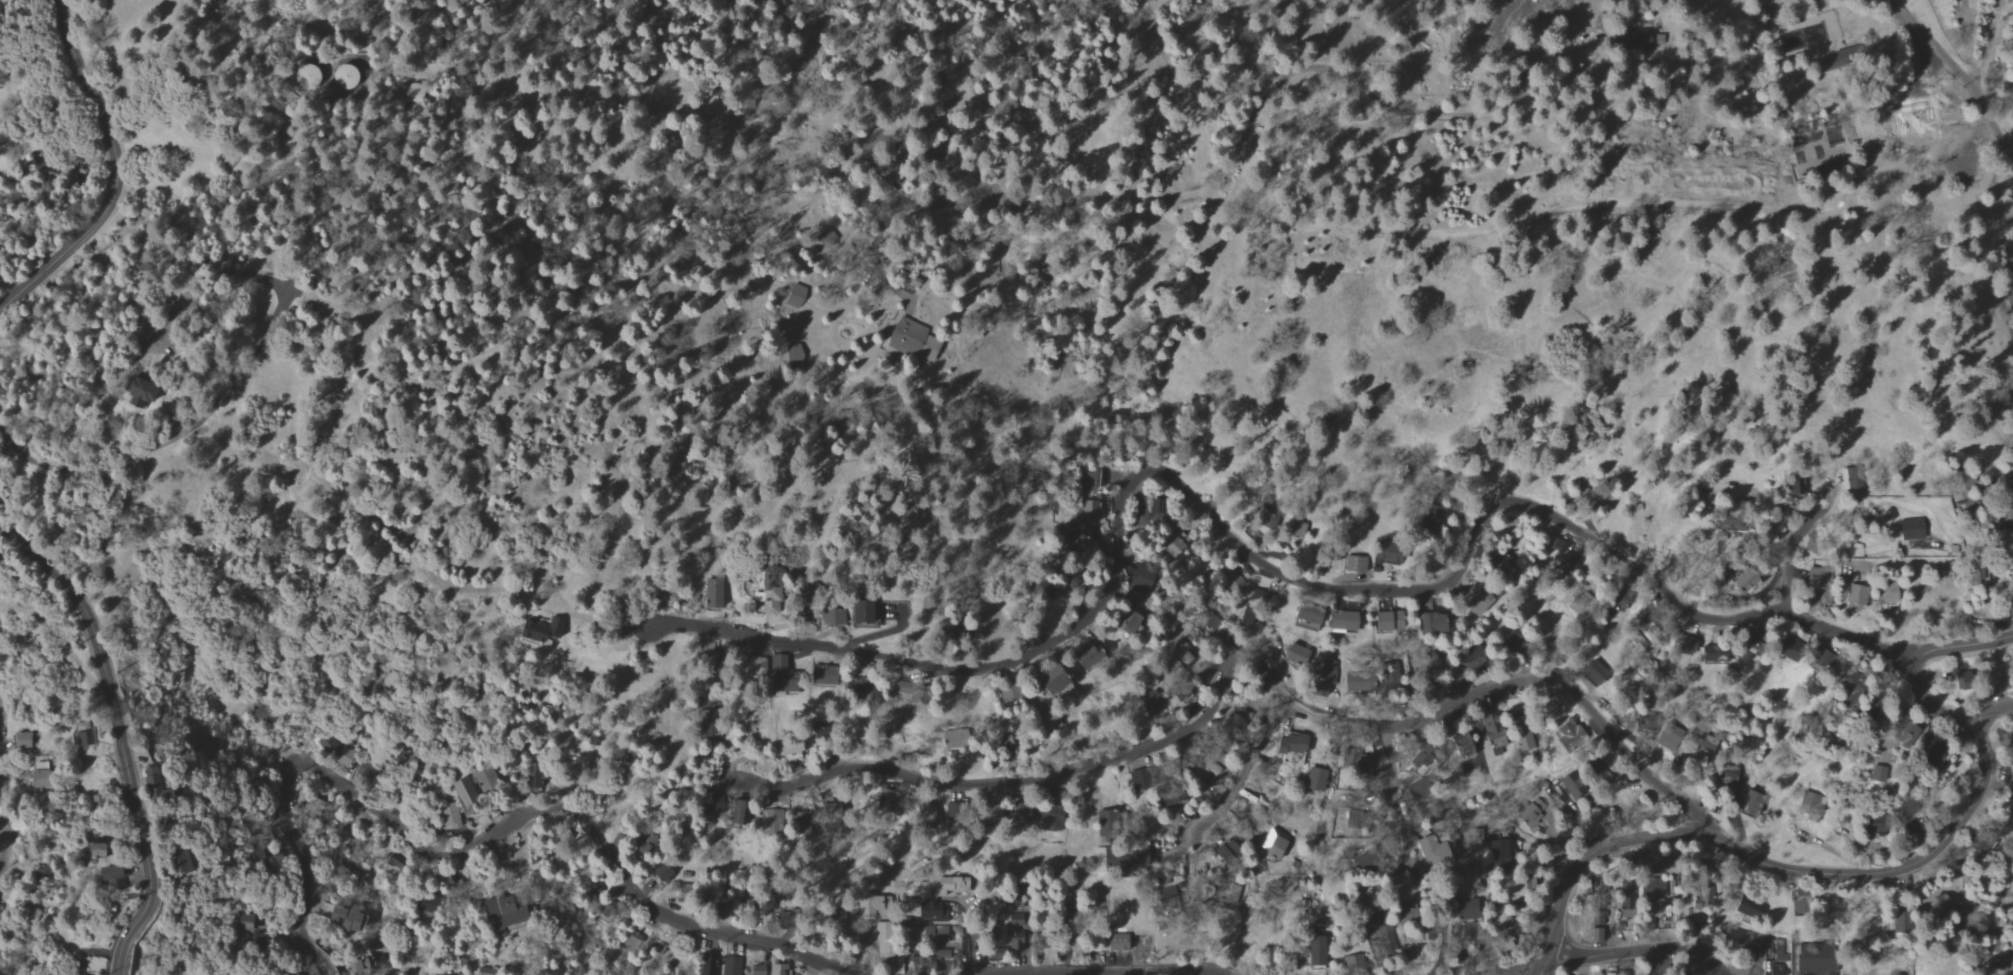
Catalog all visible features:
parking lot: (1507, 21)
building: (1627, 40)
building: (1794, 40)
road: (1297, 72)
road: (1953, 73)
building: (352, 78)
building: (413, 93)
building: (1833, 146)
parking lot: (1954, 159)
road: (859, 162)
parking lot: (965, 164)
road: (1932, 165)
road: (117, 179)
road: (1523, 205)
road: (2010, 275)
building: (794, 295)
road: (907, 310)
building: (909, 339)
road: (237, 377)
building: (158, 391)
building: (1101, 478)
building: (1847, 480)
building: (1792, 484)
building: (1092, 511)
building: (1146, 512)
building: (1299, 529)
building: (1908, 529)
building: (1074, 541)
road: (1794, 543)
building: (1174, 547)
road: (1253, 555)
building: (1560, 556)
building: (1354, 565)
building: (1234, 578)
building: (1816, 578)
building: (1737, 581)
building: (769, 586)
building: (1051, 590)
building: (714, 592)
building: (798, 593)
building: (1851, 595)
building: (1476, 597)
building: (1886, 597)
building: (1133, 603)
building: (858, 611)
building: (833, 616)
building: (1303, 616)
building: (1245, 621)
building: (1386, 621)
building: (1340, 622)
building: (1431, 622)
building: (538, 632)
road: (1961, 645)
road: (1243, 649)
building: (1086, 652)
building: (1291, 654)
building: (745, 669)
building: (821, 677)
building: (1322, 678)
building: (1054, 680)
building: (782, 683)
building: (1362, 685)
building: (1426, 689)
building: (1187, 691)
road: (1923, 701)
road: (1987, 713)
building: (263, 715)
building: (1571, 733)
road: (120, 735)
building: (1898, 735)
building: (82, 739)
building: (1668, 739)
building: (23, 740)
building: (1494, 740)
building: (1524, 740)
building: (1711, 742)
building: (1288, 744)
building: (1462, 747)
building: (791, 749)
building: (348, 758)
building: (1411, 759)
building: (1929, 759)
building: (1356, 764)
road: (1246, 769)
road: (1, 771)
building: (368, 772)
building: (43, 775)
building: (1134, 780)
building: (1313, 781)
building: (162, 783)
building: (487, 783)
building: (465, 792)
building: (2012, 794)
road: (1395, 799)
building: (102, 802)
building: (742, 812)
building: (1811, 814)
building: (448, 817)
building: (988, 817)
building: (1531, 818)
building: (772, 821)
building: (1272, 844)
road: (468, 848)
building: (107, 850)
building: (1500, 853)
building: (1430, 859)
road: (1764, 859)
building: (1121, 860)
building: (658, 876)
building: (121, 878)
building: (939, 886)
building: (1232, 894)
building: (1939, 904)
building: (509, 911)
building: (32, 914)
building: (347, 920)
building: (241, 924)
building: (845, 924)
building: (1595, 927)
building: (992, 930)
building: (933, 934)
road: (967, 938)
building: (634, 940)
building: (1381, 941)
road: (1617, 951)
building: (1308, 956)
building: (1774, 956)
building: (1816, 962)
building: (709, 963)
building: (729, 965)
building: (355, 967)
road: (1078, 970)
building: (485, 972)
building: (780, 972)
building: (283, 973)
road: (968, 973)

